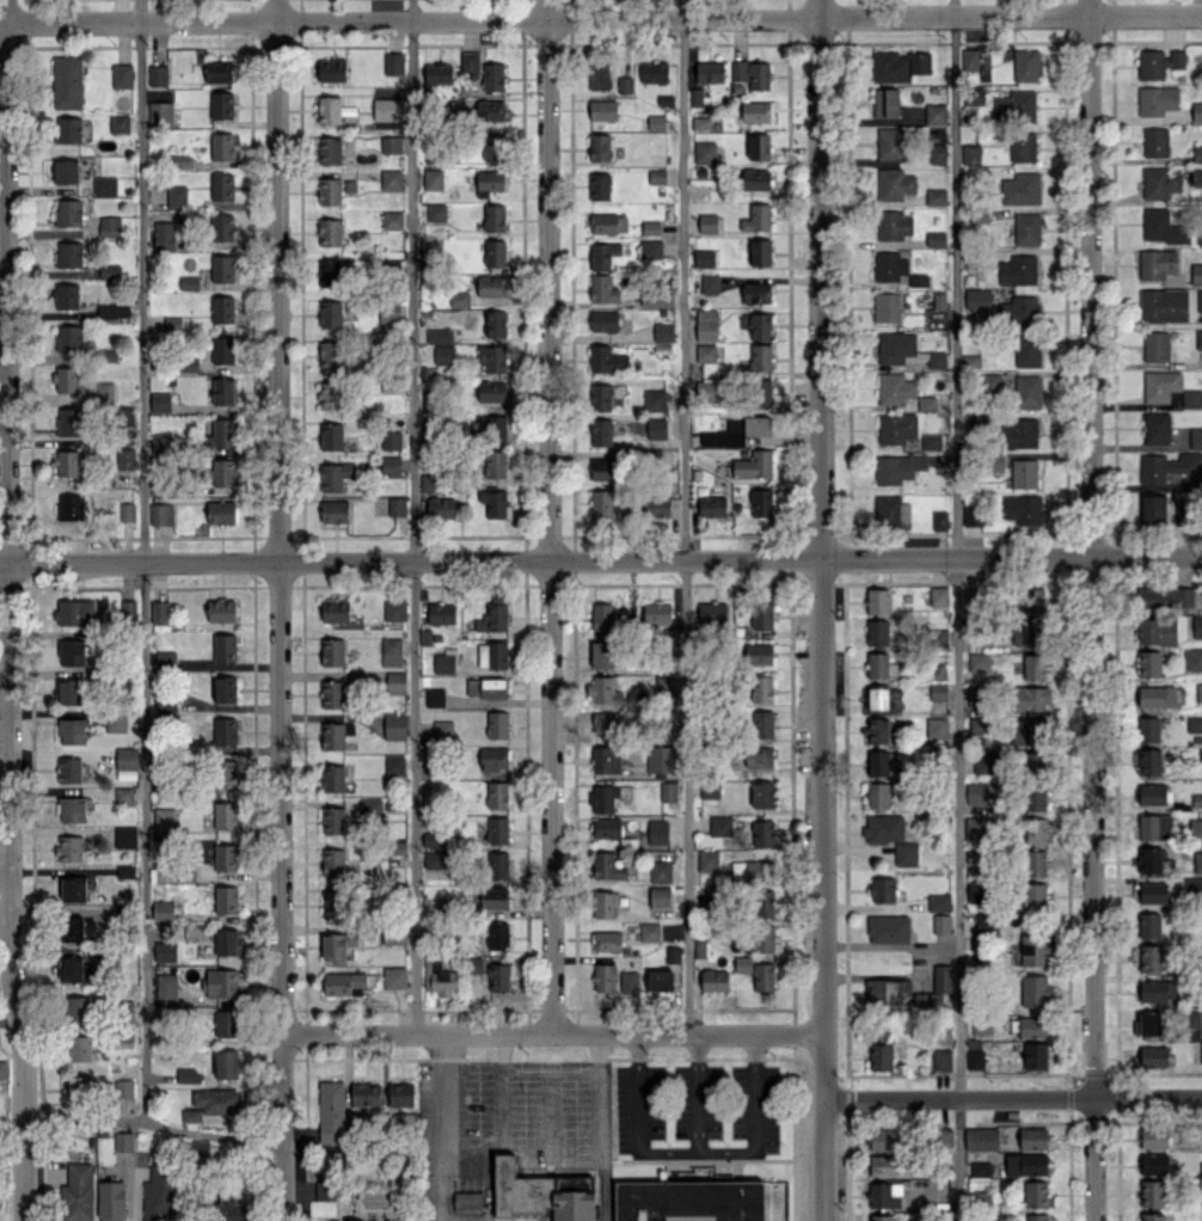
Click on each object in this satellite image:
road: (602, 18)
building: (969, 59)
building: (470, 61)
building: (1158, 62)
building: (394, 63)
building: (899, 65)
building: (1025, 65)
building: (332, 69)
building: (219, 70)
building: (710, 72)
building: (439, 73)
building: (654, 73)
building: (752, 73)
building: (158, 74)
building: (122, 75)
building: (599, 75)
building: (493, 76)
building: (67, 81)
building: (974, 96)
building: (1157, 99)
building: (885, 103)
building: (221, 105)
building: (1014, 106)
building: (332, 109)
building: (387, 109)
building: (491, 110)
building: (602, 110)
building: (755, 111)
building: (1196, 111)
building: (160, 113)
building: (934, 113)
building: (656, 122)
building: (118, 123)
building: (68, 129)
building: (1155, 141)
building: (391, 143)
building: (889, 143)
building: (221, 146)
building: (759, 146)
building: (1023, 146)
building: (493, 147)
building: (600, 147)
building: (330, 151)
building: (705, 152)
building: (1197, 152)
building: (937, 153)
building: (971, 154)
building: (179, 160)
building: (67, 171)
building: (656, 176)
building: (1196, 178)
building: (391, 179)
building: (433, 179)
building: (755, 179)
building: (490, 183)
building: (1159, 183)
building: (895, 184)
building: (599, 185)
building: (105, 186)
building: (222, 186)
building: (1022, 189)
building: (330, 191)
building: (177, 196)
building: (936, 196)
building: (436, 211)
building: (68, 213)
building: (493, 217)
building: (756, 217)
building: (392, 220)
building: (608, 223)
building: (707, 223)
building: (894, 225)
building: (110, 226)
building: (222, 227)
building: (651, 227)
building: (1161, 227)
building: (1026, 228)
building: (330, 232)
building: (167, 234)
building: (1200, 234)
building: (936, 239)
building: (650, 249)
building: (760, 251)
building: (495, 252)
building: (69, 253)
building: (602, 254)
building: (704, 258)
building: (1157, 263)
building: (890, 265)
building: (222, 268)
building: (1018, 270)
building: (110, 271)
building: (333, 272)
building: (1196, 274)
building: (189, 283)
building: (710, 283)
building: (491, 286)
building: (602, 288)
building: (756, 293)
building: (66, 295)
building: (657, 296)
building: (459, 299)
building: (980, 299)
building: (1200, 300)
building: (1163, 305)
building: (887, 307)
building: (222, 309)
building: (1024, 309)
building: (112, 311)
building: (331, 313)
building: (603, 320)
building: (172, 323)
building: (495, 323)
building: (706, 325)
building: (760, 326)
building: (663, 331)
building: (439, 335)
building: (69, 337)
building: (1198, 339)
building: (1155, 345)
building: (899, 348)
building: (222, 350)
building: (1026, 350)
building: (705, 352)
building: (331, 354)
building: (443, 354)
building: (492, 357)
building: (759, 357)
building: (605, 358)
building: (937, 360)
building: (66, 379)
building: (993, 381)
building: (1160, 385)
building: (895, 388)
building: (222, 389)
building: (491, 391)
building: (705, 391)
building: (1028, 391)
building: (105, 392)
building: (760, 392)
building: (331, 394)
building: (600, 397)
building: (654, 399)
building: (1191, 399)
building: (160, 401)
building: (125, 416)
building: (70, 421)
building: (756, 425)
building: (656, 428)
building: (896, 428)
building: (1157, 428)
building: (497, 429)
building: (221, 432)
building: (1020, 432)
building: (725, 435)
building: (331, 436)
building: (1196, 438)
building: (391, 440)
building: (931, 441)
building: (160, 442)
building: (125, 459)
building: (67, 462)
building: (995, 462)
building: (496, 464)
building: (754, 464)
building: (391, 465)
building: (1167, 466)
building: (605, 467)
building: (897, 467)
building: (226, 472)
building: (338, 473)
building: (1024, 473)
building: (761, 502)
building: (493, 503)
building: (601, 503)
building: (397, 505)
building: (712, 505)
building: (70, 507)
building: (656, 507)
building: (441, 508)
building: (1023, 509)
building: (1153, 509)
building: (890, 510)
building: (128, 511)
building: (221, 511)
building: (335, 511)
building: (161, 514)
building: (971, 515)
building: (1184, 515)
road: (413, 516)
road: (550, 516)
road: (683, 517)
building: (939, 520)
road: (601, 557)
road: (139, 560)
building: (938, 596)
building: (1165, 597)
building: (877, 600)
building: (1031, 600)
building: (128, 608)
building: (221, 609)
building: (394, 609)
road: (821, 609)
road: (956, 609)
road: (6, 610)
building: (160, 610)
road: (280, 610)
building: (335, 610)
road: (1092, 610)
building: (75, 612)
building: (712, 612)
building: (441, 613)
building: (657, 613)
building: (493, 615)
building: (761, 615)
building: (602, 616)
building: (1197, 626)
building: (1157, 631)
building: (877, 632)
building: (1026, 636)
building: (225, 648)
building: (332, 651)
building: (391, 651)
building: (72, 652)
building: (492, 654)
building: (758, 654)
building: (1192, 658)
building: (165, 659)
building: (979, 662)
building: (443, 663)
building: (1148, 663)
building: (877, 664)
building: (1034, 667)
building: (395, 681)
building: (664, 683)
building: (486, 687)
building: (225, 688)
building: (762, 688)
building: (603, 691)
building: (69, 692)
building: (938, 692)
building: (1198, 692)
building: (332, 693)
building: (1157, 695)
building: (435, 697)
building: (878, 698)
building: (1031, 699)
building: (116, 720)
building: (605, 722)
building: (762, 723)
building: (497, 724)
building: (1194, 724)
building: (394, 725)
building: (979, 725)
building: (936, 728)
building: (1148, 729)
building: (72, 730)
building: (878, 730)
building: (225, 731)
building: (1025, 732)
building: (332, 735)
building: (759, 756)
building: (125, 757)
building: (493, 759)
building: (606, 759)
building: (661, 759)
building: (1149, 761)
building: (878, 762)
building: (986, 762)
building: (1034, 762)
building: (69, 766)
building: (394, 766)
building: (226, 773)
building: (127, 774)
building: (332, 778)
building: (710, 790)
building: (668, 791)
building: (979, 793)
building: (1152, 793)
building: (497, 794)
building: (762, 794)
building: (878, 794)
building: (123, 796)
building: (1034, 797)
building: (603, 798)
building: (1197, 799)
building: (372, 808)
building: (73, 809)
building: (226, 815)
building: (333, 820)
building: (165, 821)
building: (719, 824)
building: (606, 827)
building: (976, 827)
building: (1157, 827)
building: (884, 828)
building: (497, 829)
building: (1195, 829)
building: (1035, 830)
building: (657, 832)
building: (762, 833)
building: (125, 836)
building: (433, 839)
building: (395, 847)
building: (69, 848)
building: (906, 853)
building: (225, 857)
building: (435, 859)
building: (1152, 860)
building: (333, 861)
building: (707, 861)
building: (1197, 861)
building: (1035, 863)
building: (498, 865)
building: (607, 866)
building: (752, 870)
building: (125, 871)
building: (661, 871)
building: (1192, 888)
building: (73, 889)
building: (882, 889)
building: (977, 891)
building: (1153, 892)
building: (711, 896)
building: (1035, 896)
building: (493, 897)
building: (226, 898)
building: (660, 898)
building: (938, 902)
building: (332, 903)
building: (603, 903)
building: (765, 903)
building: (162, 909)
building: (942, 924)
building: (1149, 925)
building: (988, 926)
building: (76, 928)
building: (888, 928)
building: (650, 932)
building: (393, 934)
building: (497, 934)
building: (766, 938)
building: (607, 940)
building: (226, 941)
building: (337, 945)
building: (1036, 950)
building: (165, 951)
building: (1201, 951)
building: (1151, 957)
building: (76, 968)
building: (756, 971)
building: (603, 976)
building: (394, 977)
building: (498, 977)
building: (942, 977)
building: (440, 978)
building: (658, 980)
building: (715, 980)
building: (630, 981)
building: (222, 982)
building: (342, 982)
building: (167, 988)
building: (1035, 990)
building: (1157, 990)
building: (887, 992)
building: (928, 1000)
building: (79, 1007)
building: (226, 1023)
building: (982, 1024)
building: (1148, 1024)
building: (1192, 1024)
building: (1032, 1026)
road: (552, 1033)
building: (79, 1048)
building: (1201, 1051)
road: (601, 1054)
building: (1035, 1055)
building: (881, 1056)
building: (1153, 1056)
building: (942, 1059)
building: (975, 1059)
building: (226, 1063)
building: (2, 1069)
road: (531, 1074)
building: (188, 1075)
building: (80, 1088)
building: (123, 1088)
road: (633, 1092)
road: (692, 1092)
building: (366, 1093)
building: (400, 1093)
road: (1013, 1097)
building: (216, 1100)
building: (331, 1111)
building: (191, 1115)
road: (152, 1123)
road: (437, 1127)
building: (945, 1137)
building: (1034, 1137)
building: (1154, 1137)
building: (884, 1139)
building: (981, 1139)
road: (498, 1140)
building: (124, 1141)
road: (602, 1147)
road: (749, 1151)
building: (197, 1152)
building: (1025, 1164)
building: (1154, 1164)
building: (890, 1165)
building: (1201, 1167)
building: (980, 1168)
road: (131, 1186)
building: (325, 1190)
building: (78, 1192)
building: (542, 1192)
building: (159, 1194)
building: (885, 1194)
building: (1036, 1194)
building: (1152, 1194)
building: (1201, 1199)
building: (111, 1201)
building: (468, 1201)
building: (699, 1201)
building: (231, 1209)
building: (882, 1217)
building: (1037, 1217)
building: (1152, 1217)
building: (363, 1220)

